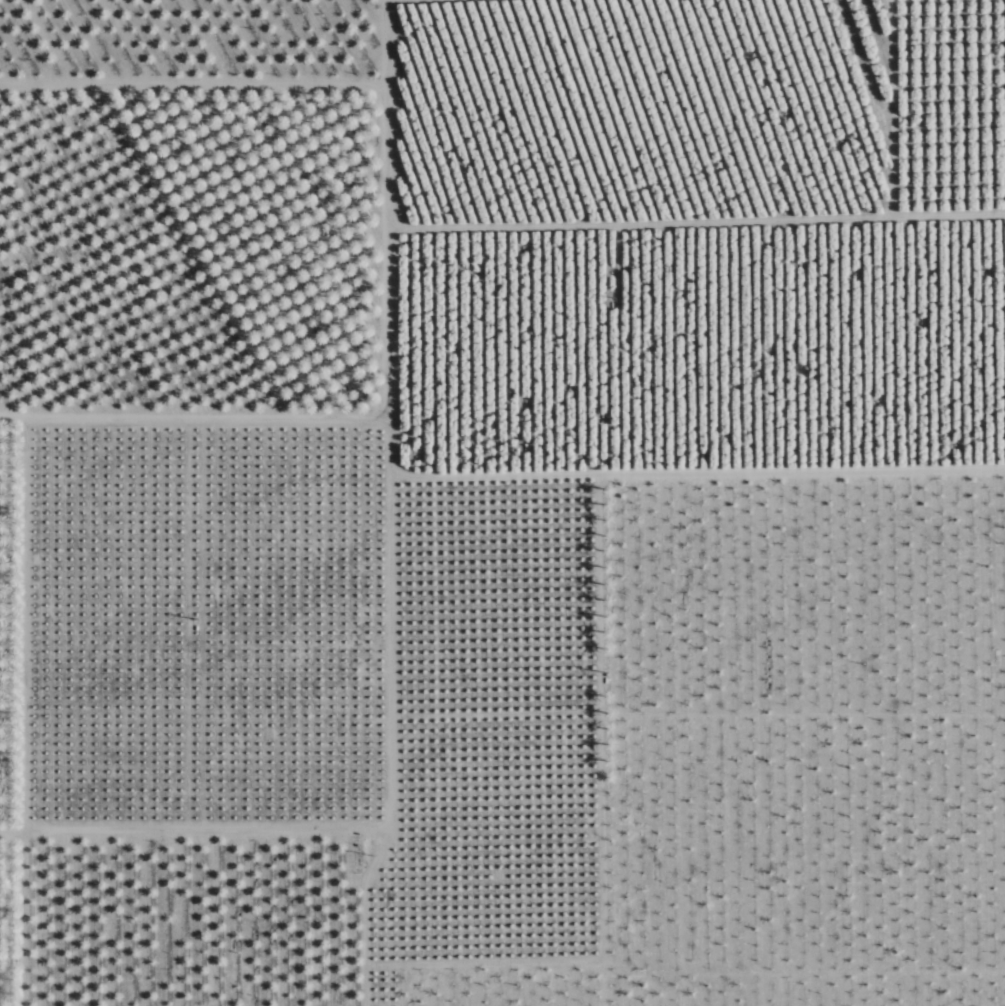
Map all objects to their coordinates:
road: (196, 84)
road: (391, 428)
road: (198, 829)

